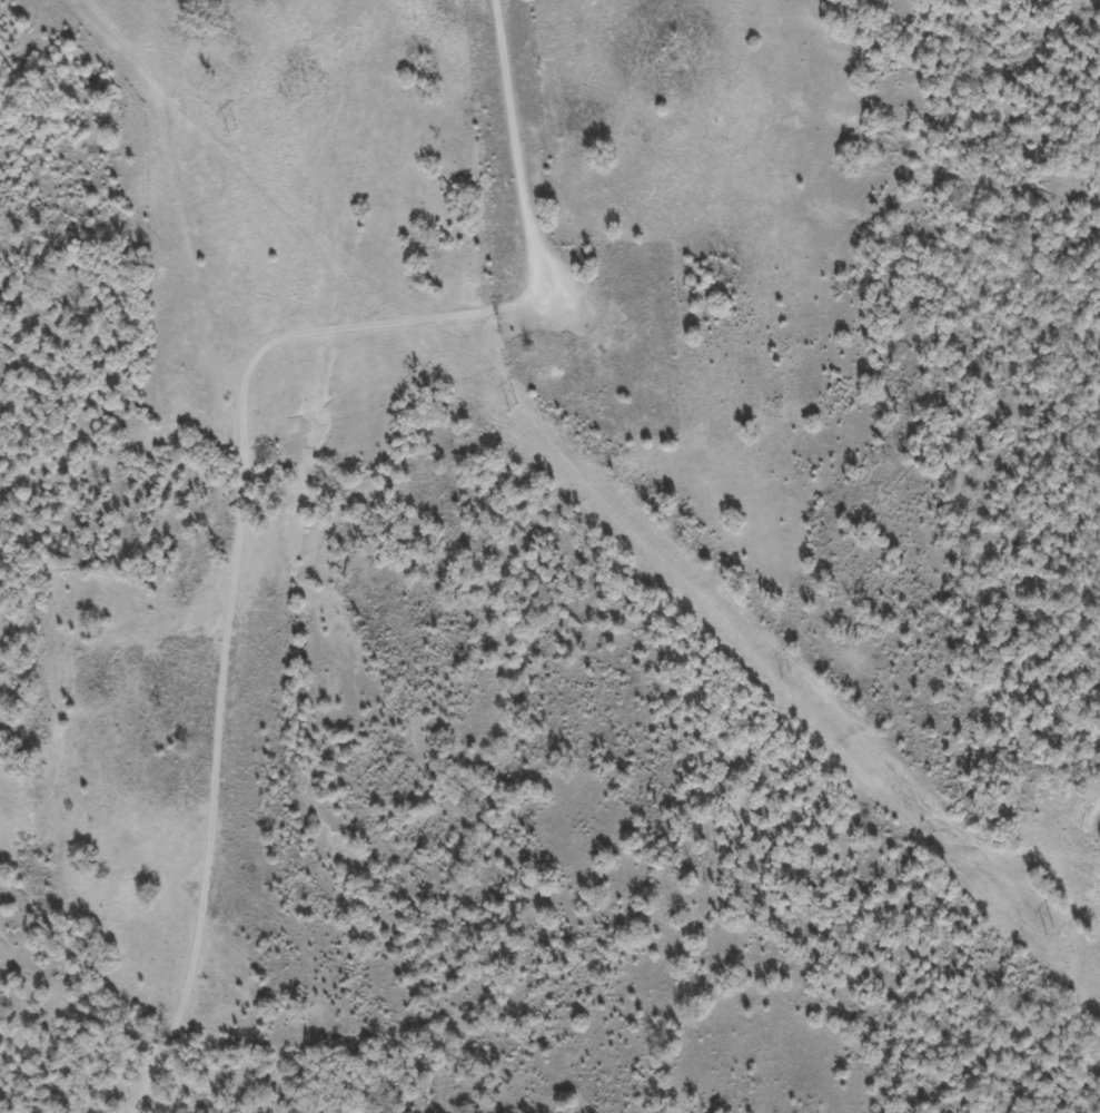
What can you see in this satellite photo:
road: (516, 134)

